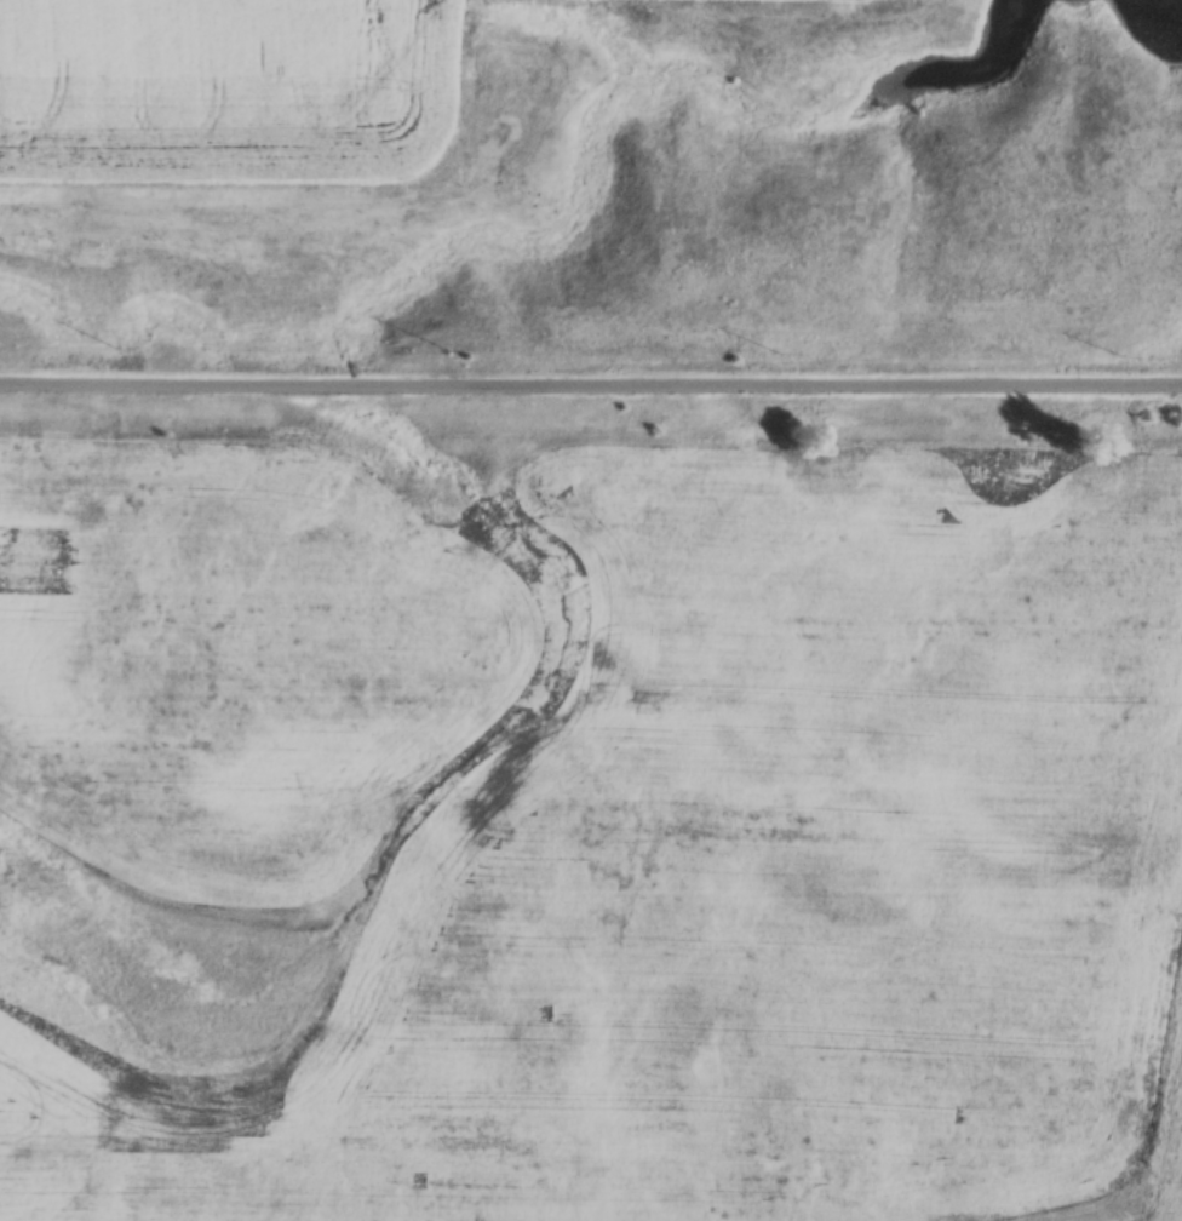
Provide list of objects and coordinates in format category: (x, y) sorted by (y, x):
river: (970, 86)
road: (590, 379)

